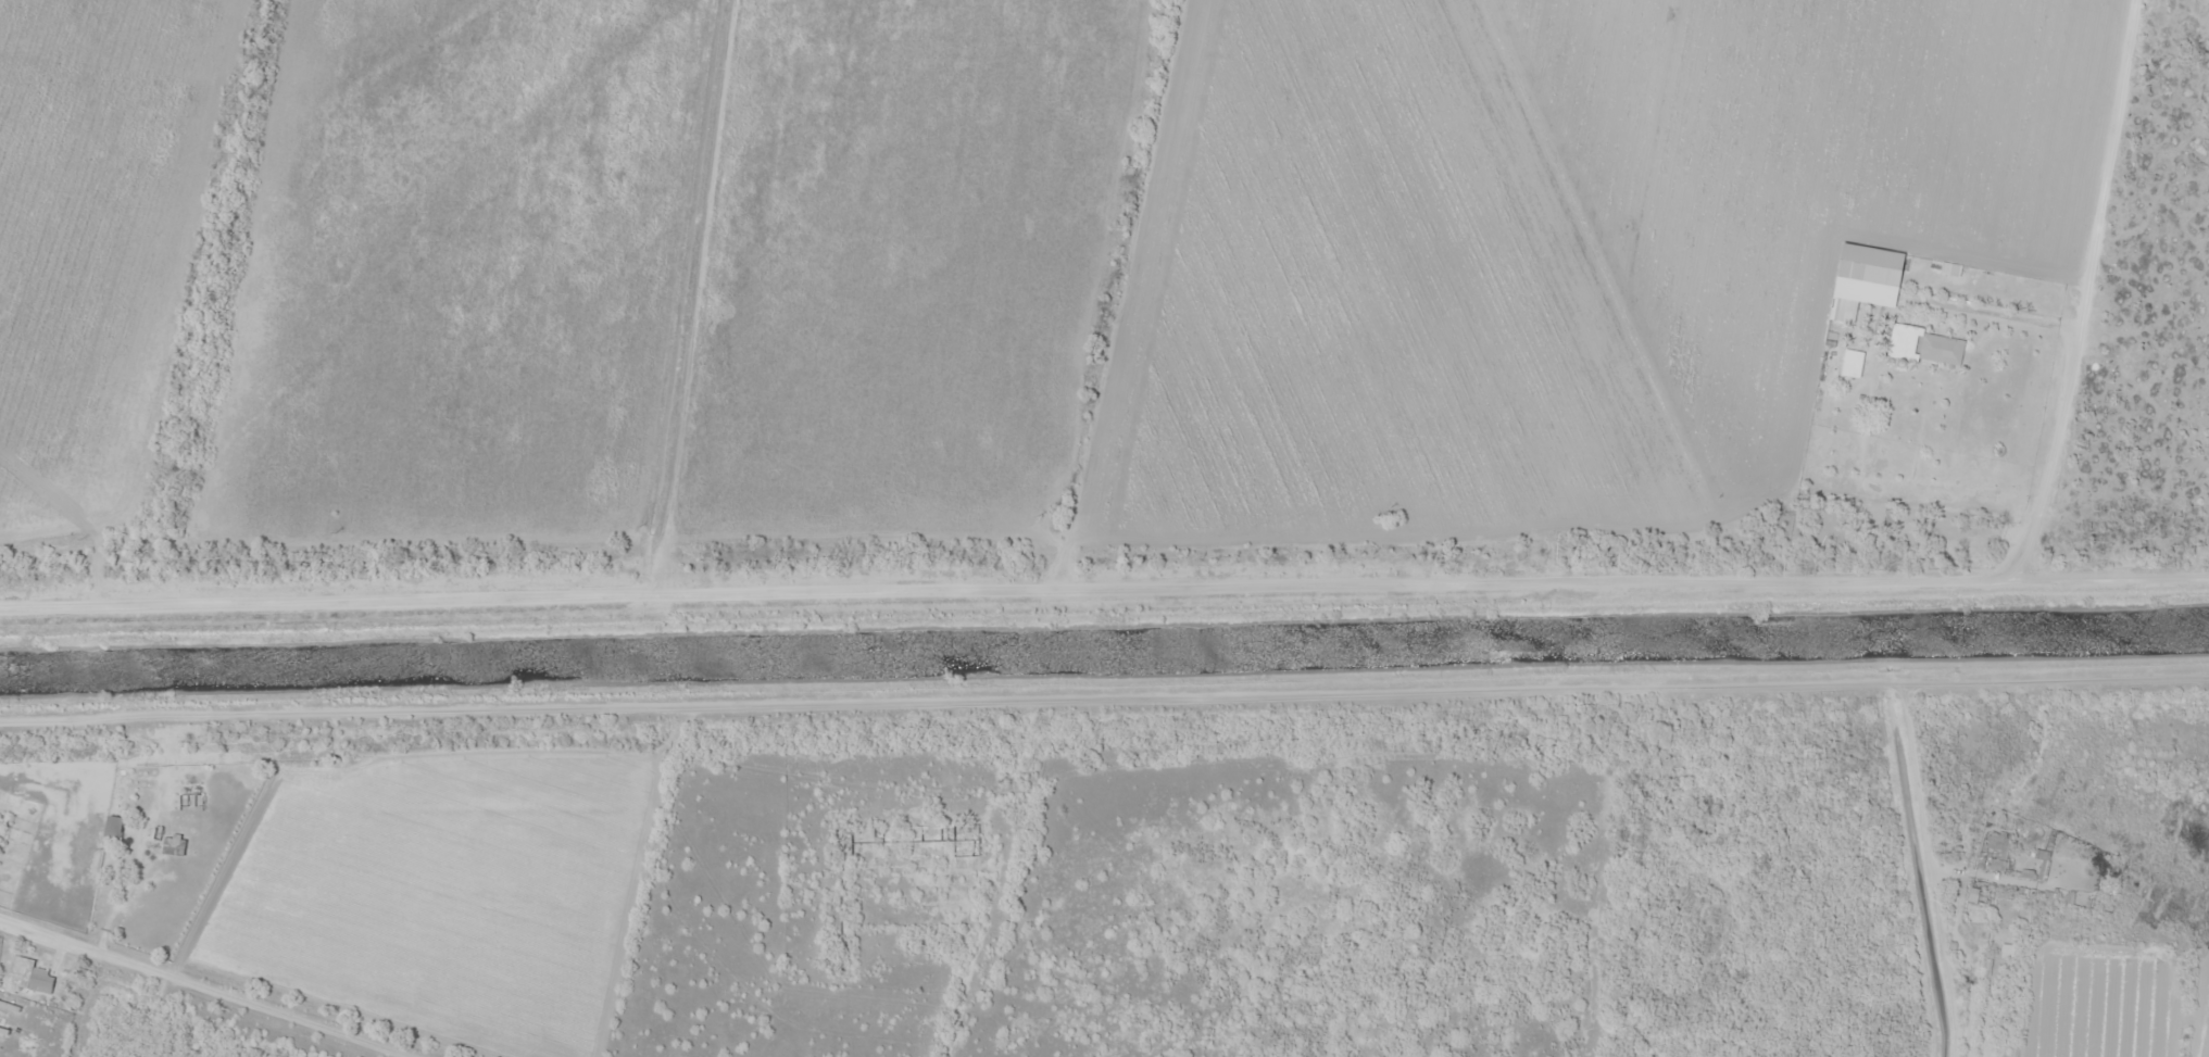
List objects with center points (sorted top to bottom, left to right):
road: (2085, 290)
road: (1104, 587)
road: (1104, 695)

